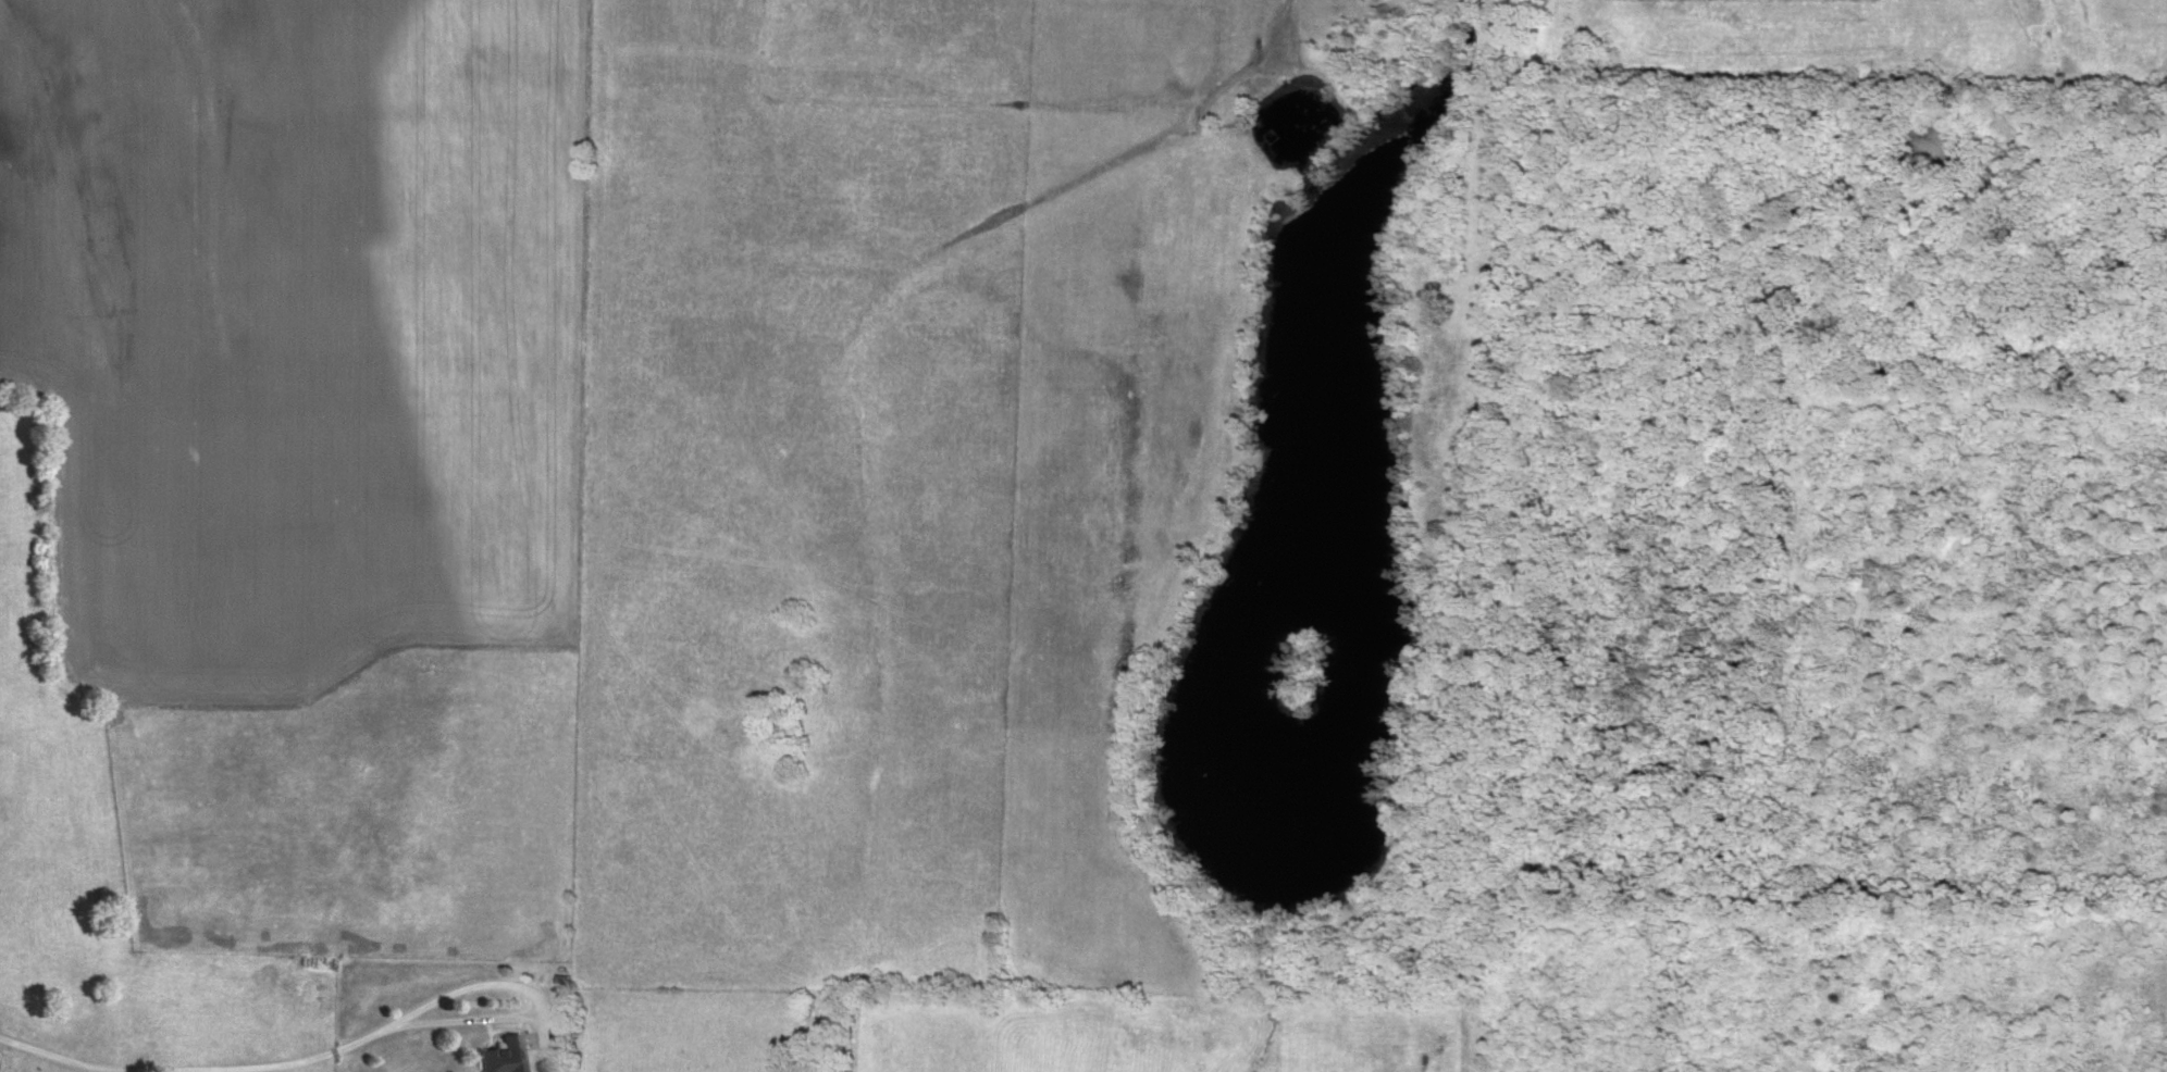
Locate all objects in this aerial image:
road: (1270, 34)
railway: (1476, 536)
road: (538, 997)
building: (504, 1055)
road: (198, 1068)

